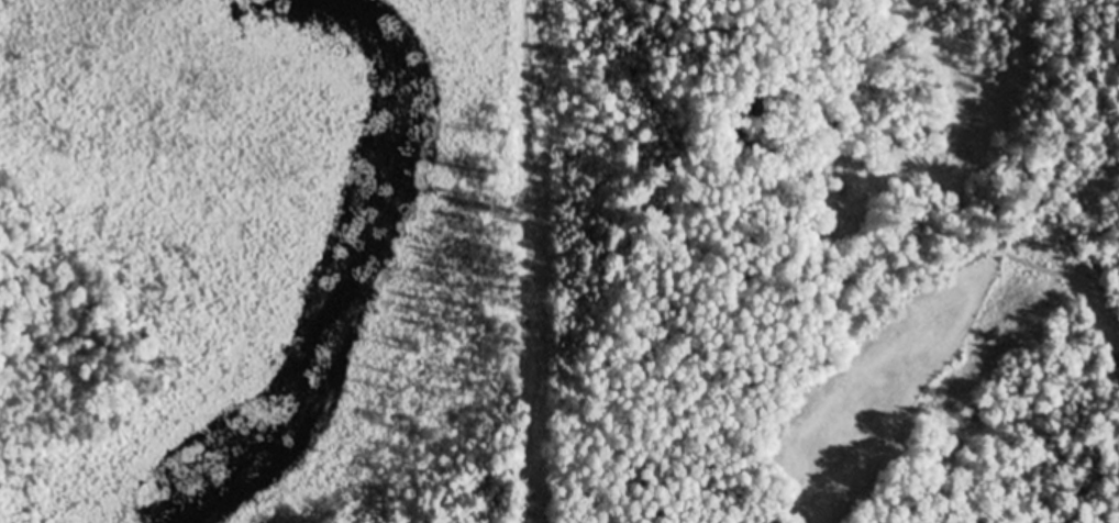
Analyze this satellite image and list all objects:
park: (961, 358)

